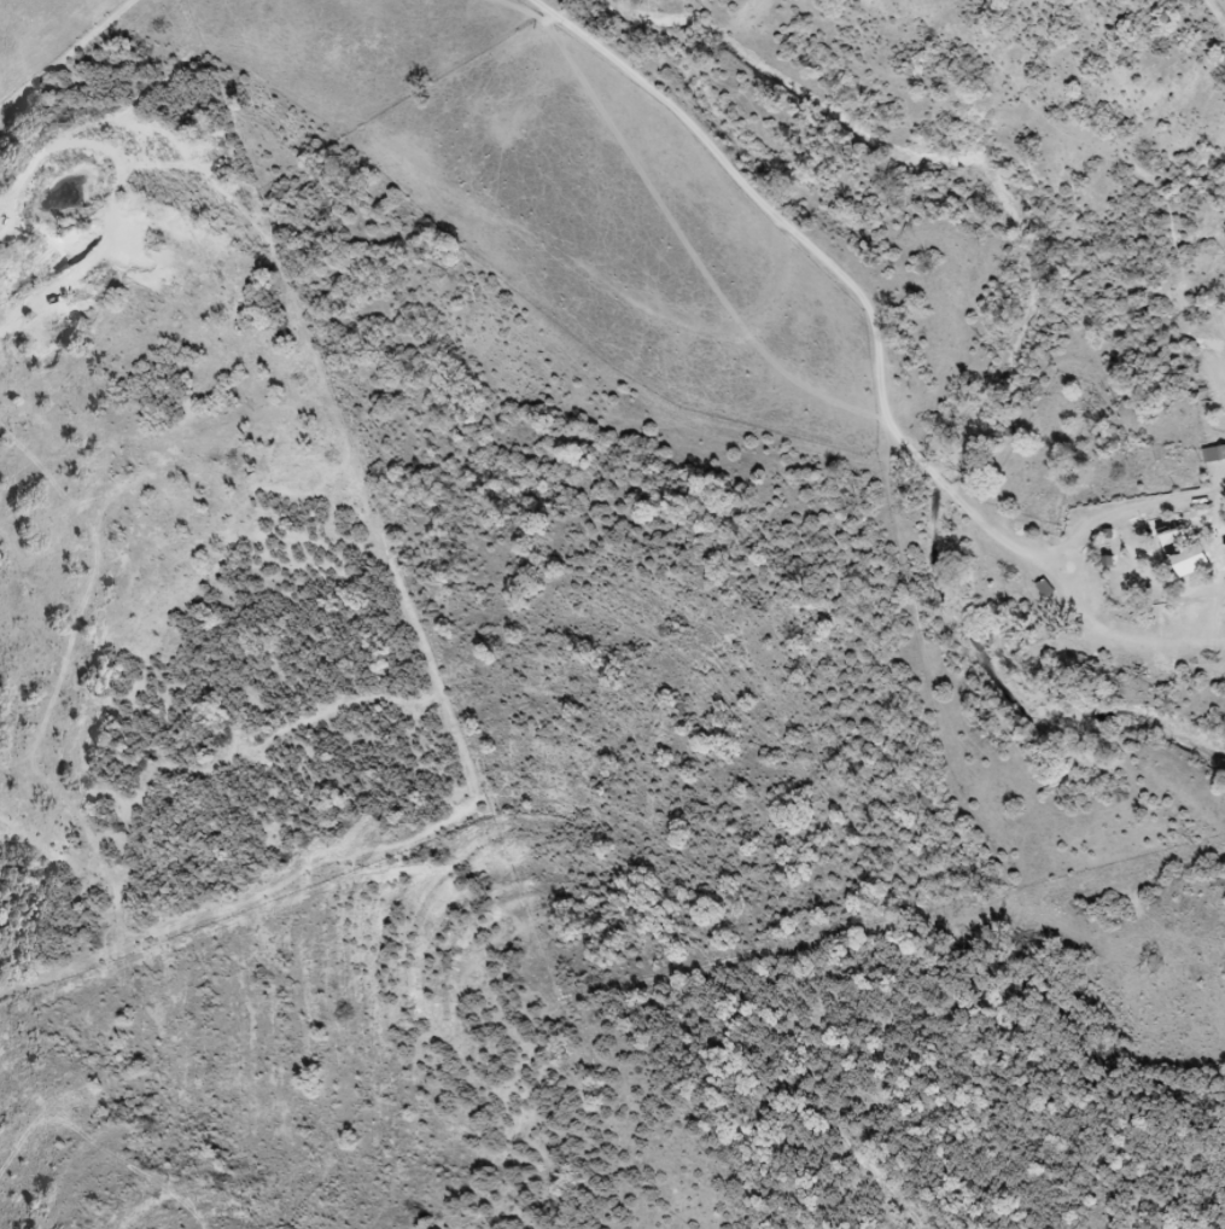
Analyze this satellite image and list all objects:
road: (363, 199)
building: (1213, 454)
building: (1168, 536)
building: (1184, 560)
building: (1050, 592)

